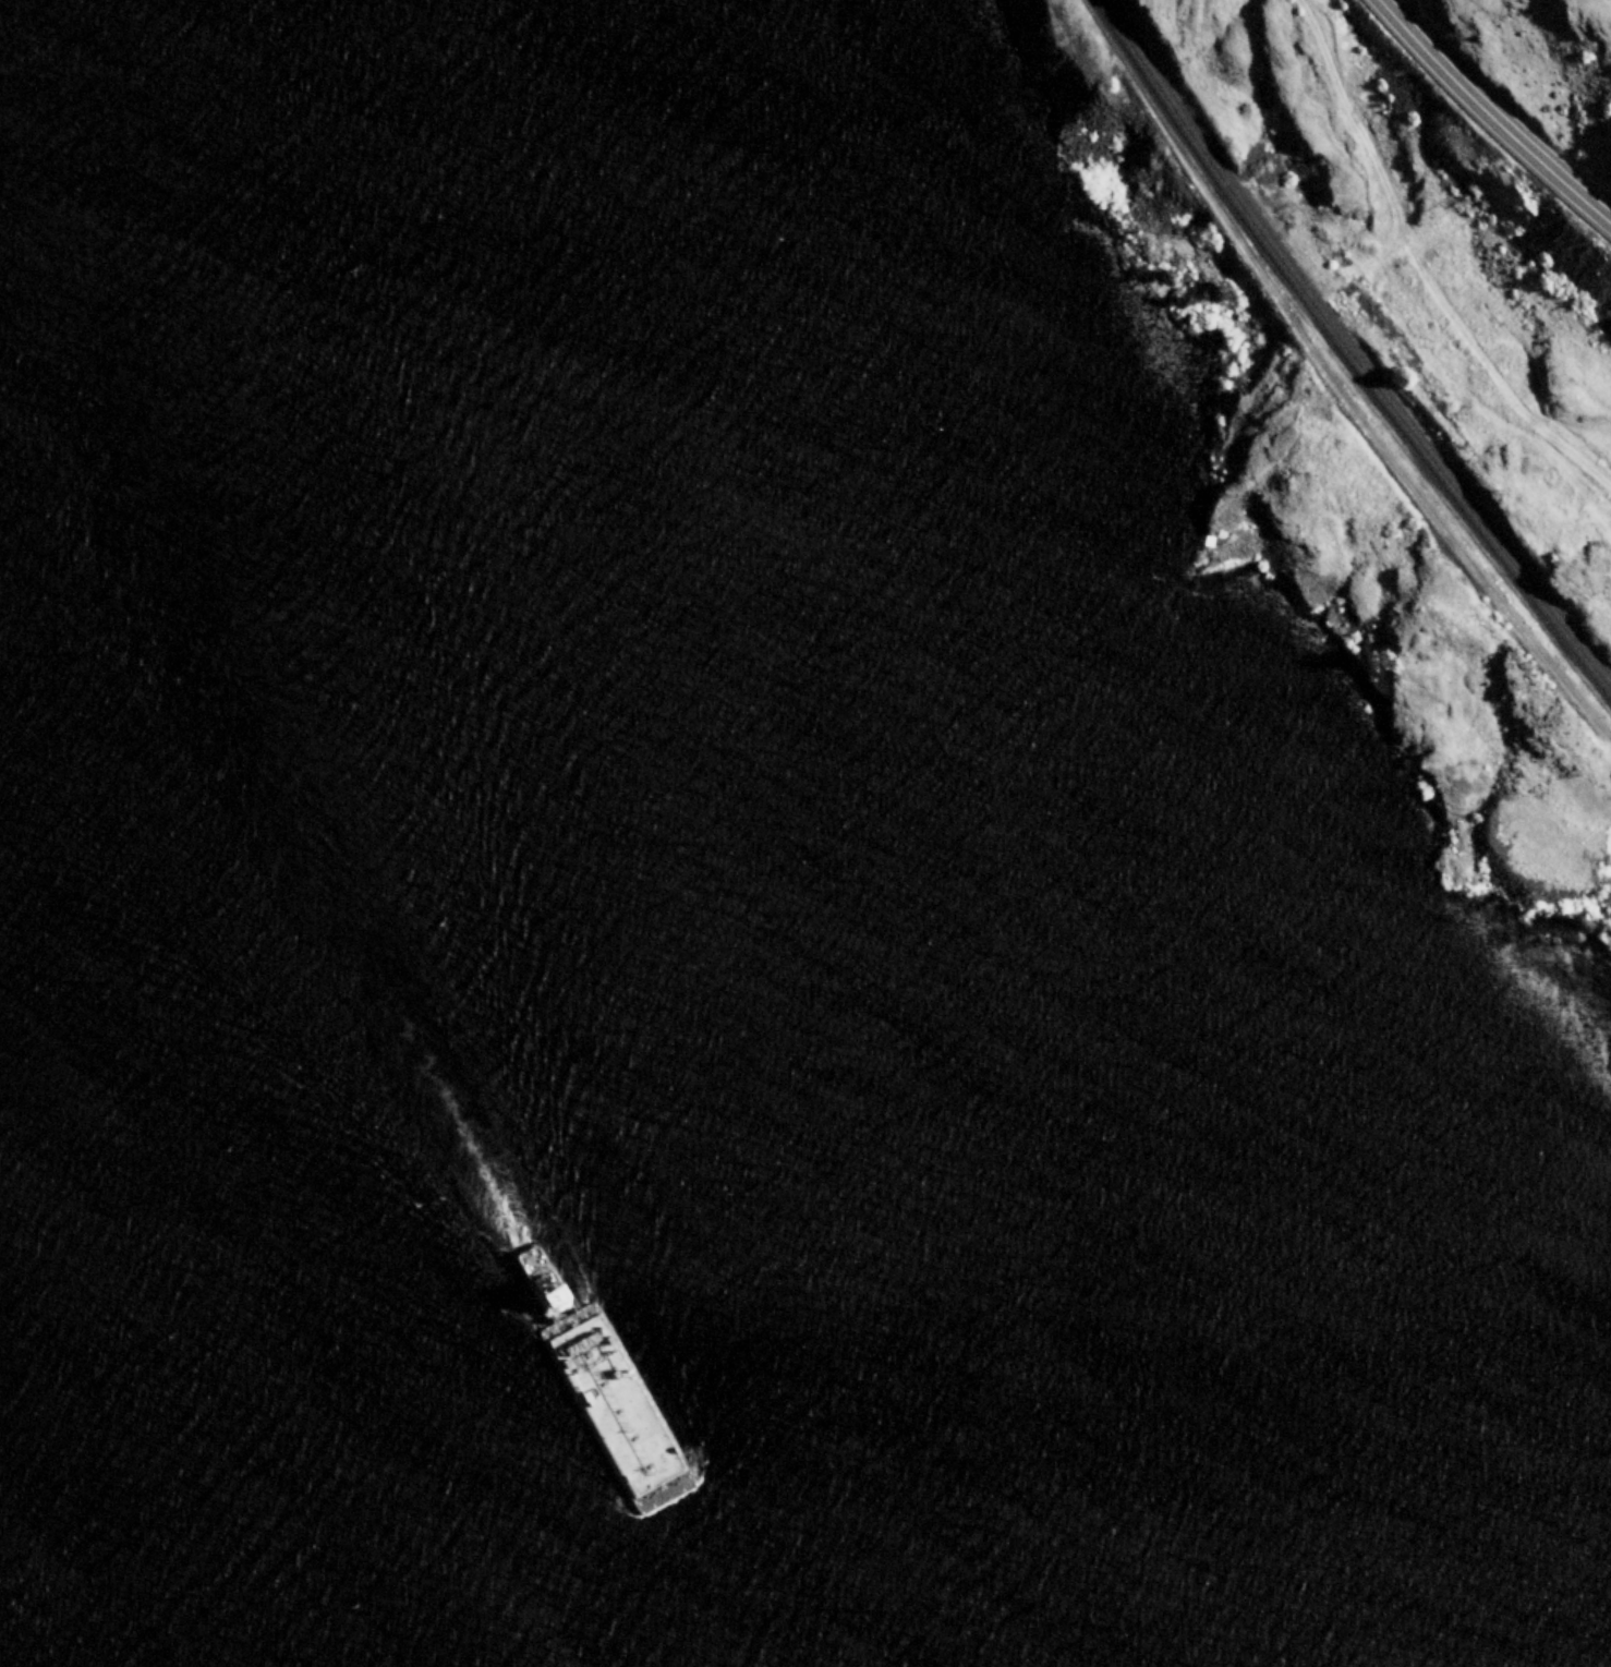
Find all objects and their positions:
road: (1490, 118)
road: (1419, 264)
railway: (1361, 337)
road: (1371, 438)
river: (190, 1317)

